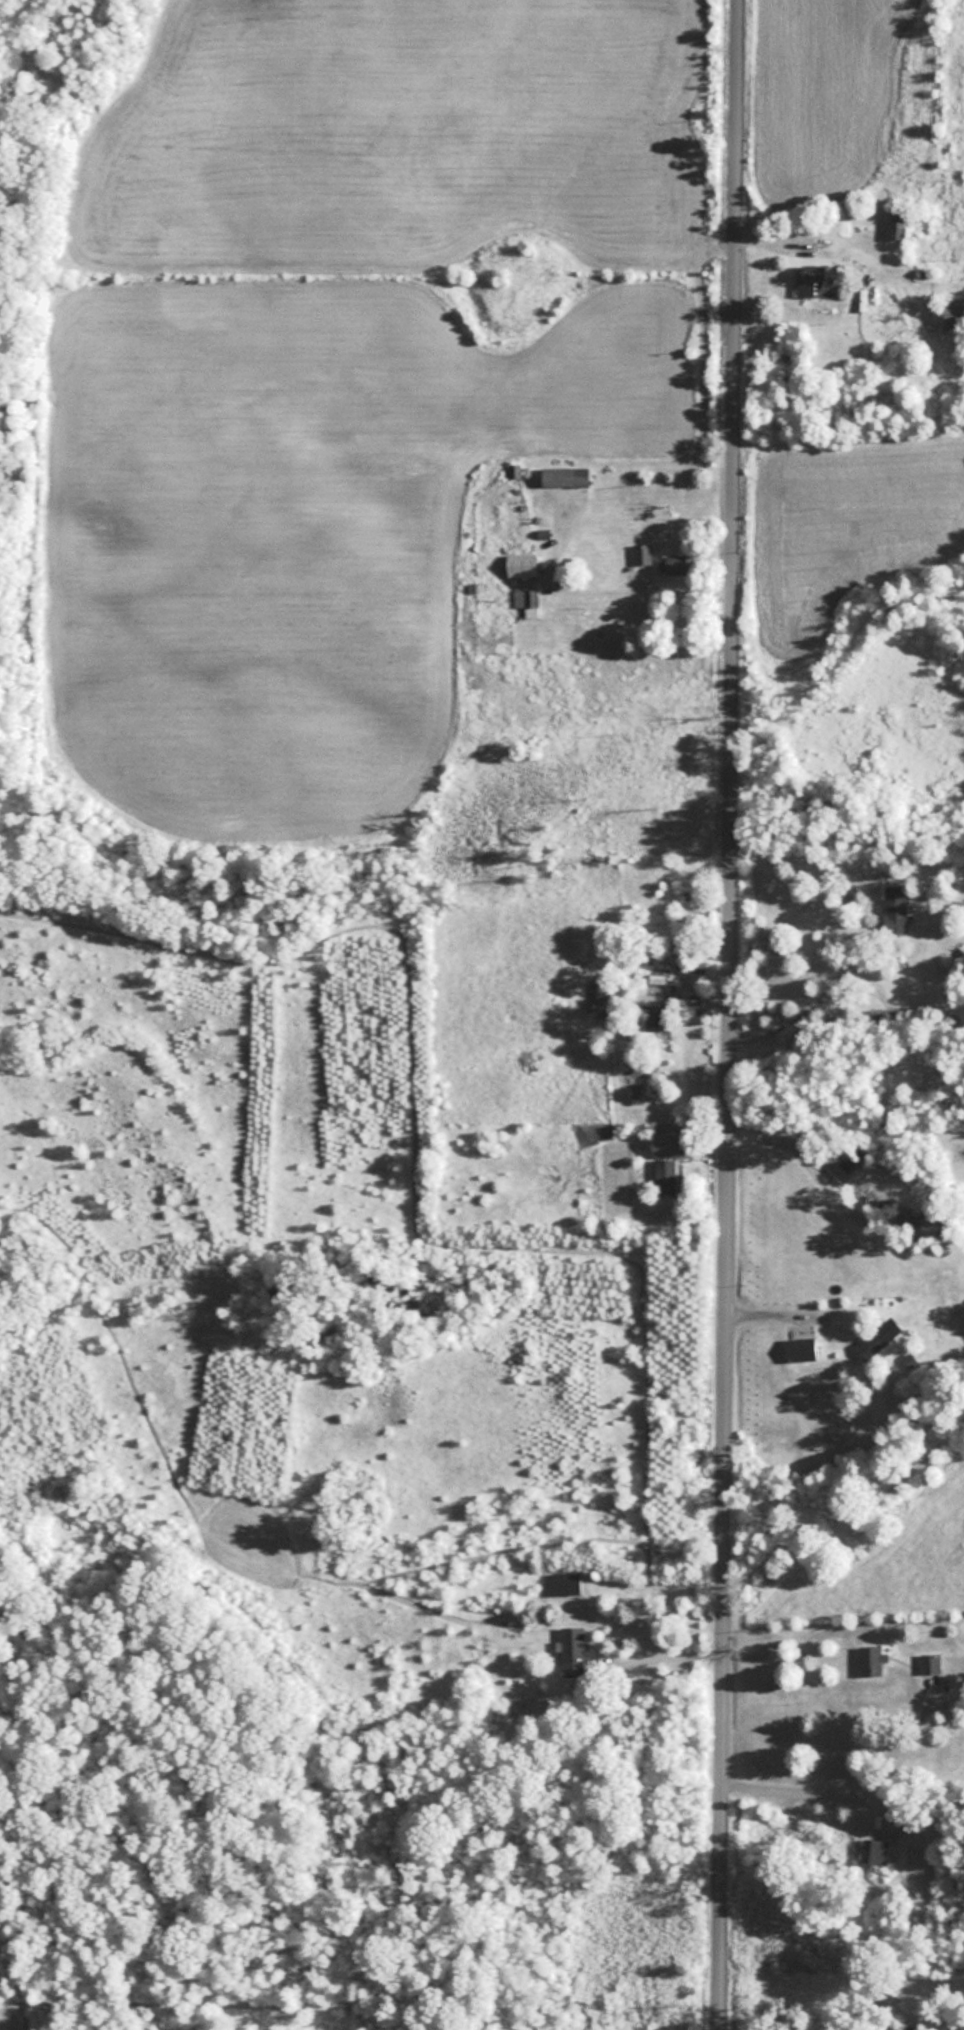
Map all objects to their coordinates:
building: (897, 223)
building: (813, 281)
building: (953, 314)
building: (514, 470)
building: (564, 477)
building: (642, 554)
building: (680, 565)
building: (524, 581)
building: (895, 907)
building: (654, 990)
building: (606, 996)
road: (729, 1014)
building: (888, 1017)
building: (657, 1019)
building: (657, 1139)
building: (665, 1172)
building: (871, 1340)
building: (800, 1349)
building: (908, 1359)
building: (566, 1582)
building: (573, 1650)
building: (872, 1658)
building: (930, 1662)
road: (855, 1778)
building: (875, 1851)

